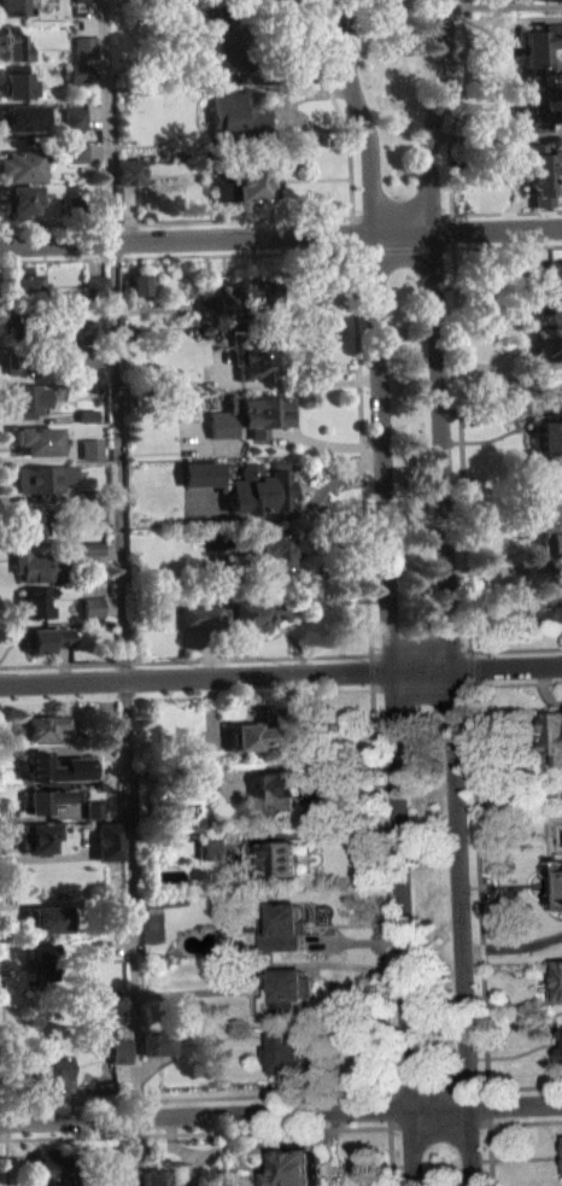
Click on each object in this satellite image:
building: (83, 0)
building: (546, 0)
building: (13, 6)
building: (223, 36)
building: (13, 43)
building: (538, 45)
building: (84, 46)
building: (77, 71)
building: (17, 81)
building: (537, 105)
road: (336, 107)
road: (455, 113)
building: (74, 117)
building: (240, 117)
building: (22, 118)
building: (76, 151)
building: (23, 164)
building: (128, 170)
building: (541, 171)
building: (245, 182)
building: (18, 199)
building: (72, 208)
road: (507, 211)
road: (402, 214)
road: (193, 220)
road: (281, 234)
road: (452, 238)
road: (508, 246)
road: (176, 256)
building: (22, 282)
building: (139, 284)
building: (548, 284)
building: (95, 286)
building: (247, 294)
building: (22, 323)
building: (83, 329)
building: (548, 345)
building: (86, 356)
building: (258, 357)
building: (24, 358)
building: (28, 398)
road: (359, 411)
building: (86, 414)
building: (250, 414)
building: (87, 423)
building: (550, 437)
road: (461, 439)
building: (35, 440)
building: (90, 448)
building: (43, 479)
building: (242, 483)
building: (93, 510)
building: (29, 521)
building: (550, 542)
building: (92, 547)
building: (277, 551)
building: (92, 556)
road: (121, 559)
building: (40, 566)
road: (386, 591)
road: (444, 591)
building: (36, 601)
building: (92, 607)
building: (552, 608)
building: (232, 614)
building: (92, 618)
building: (45, 637)
road: (497, 649)
road: (428, 650)
road: (379, 653)
road: (192, 659)
road: (280, 672)
road: (429, 687)
road: (194, 695)
building: (39, 726)
building: (109, 726)
building: (268, 731)
building: (555, 734)
building: (76, 748)
building: (35, 765)
building: (203, 776)
building: (203, 787)
building: (280, 789)
building: (46, 799)
building: (93, 808)
building: (93, 818)
building: (37, 836)
building: (107, 840)
building: (215, 848)
road: (476, 848)
building: (287, 857)
building: (558, 882)
road: (379, 889)
building: (45, 919)
building: (286, 927)
building: (99, 950)
building: (37, 962)
building: (232, 972)
building: (557, 983)
building: (288, 989)
road: (2, 1024)
building: (561, 1038)
building: (157, 1041)
building: (119, 1050)
building: (297, 1051)
building: (51, 1073)
road: (485, 1088)
road: (197, 1097)
road: (388, 1099)
road: (5, 1111)
road: (281, 1112)
road: (487, 1114)
road: (525, 1121)
road: (480, 1123)
road: (6, 1129)
road: (206, 1131)
road: (388, 1147)
road: (139, 1151)
road: (6, 1158)
building: (49, 1163)
building: (294, 1165)
building: (112, 1175)
building: (157, 1176)
building: (48, 1184)

